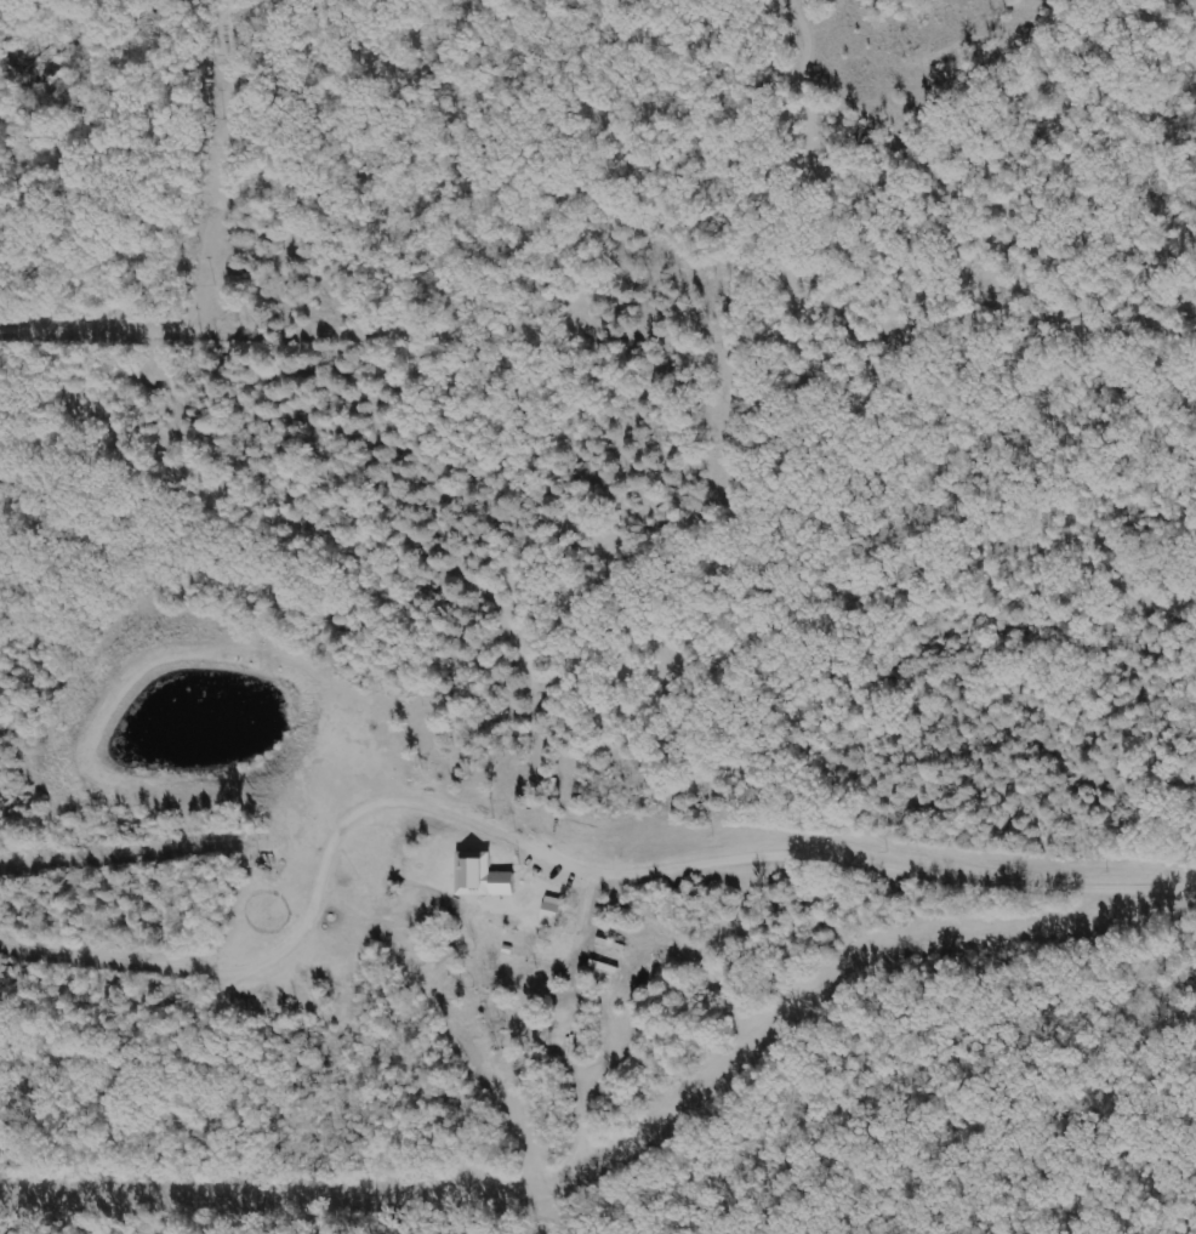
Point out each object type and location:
park: (513, 302)
building: (480, 877)
building: (549, 911)

